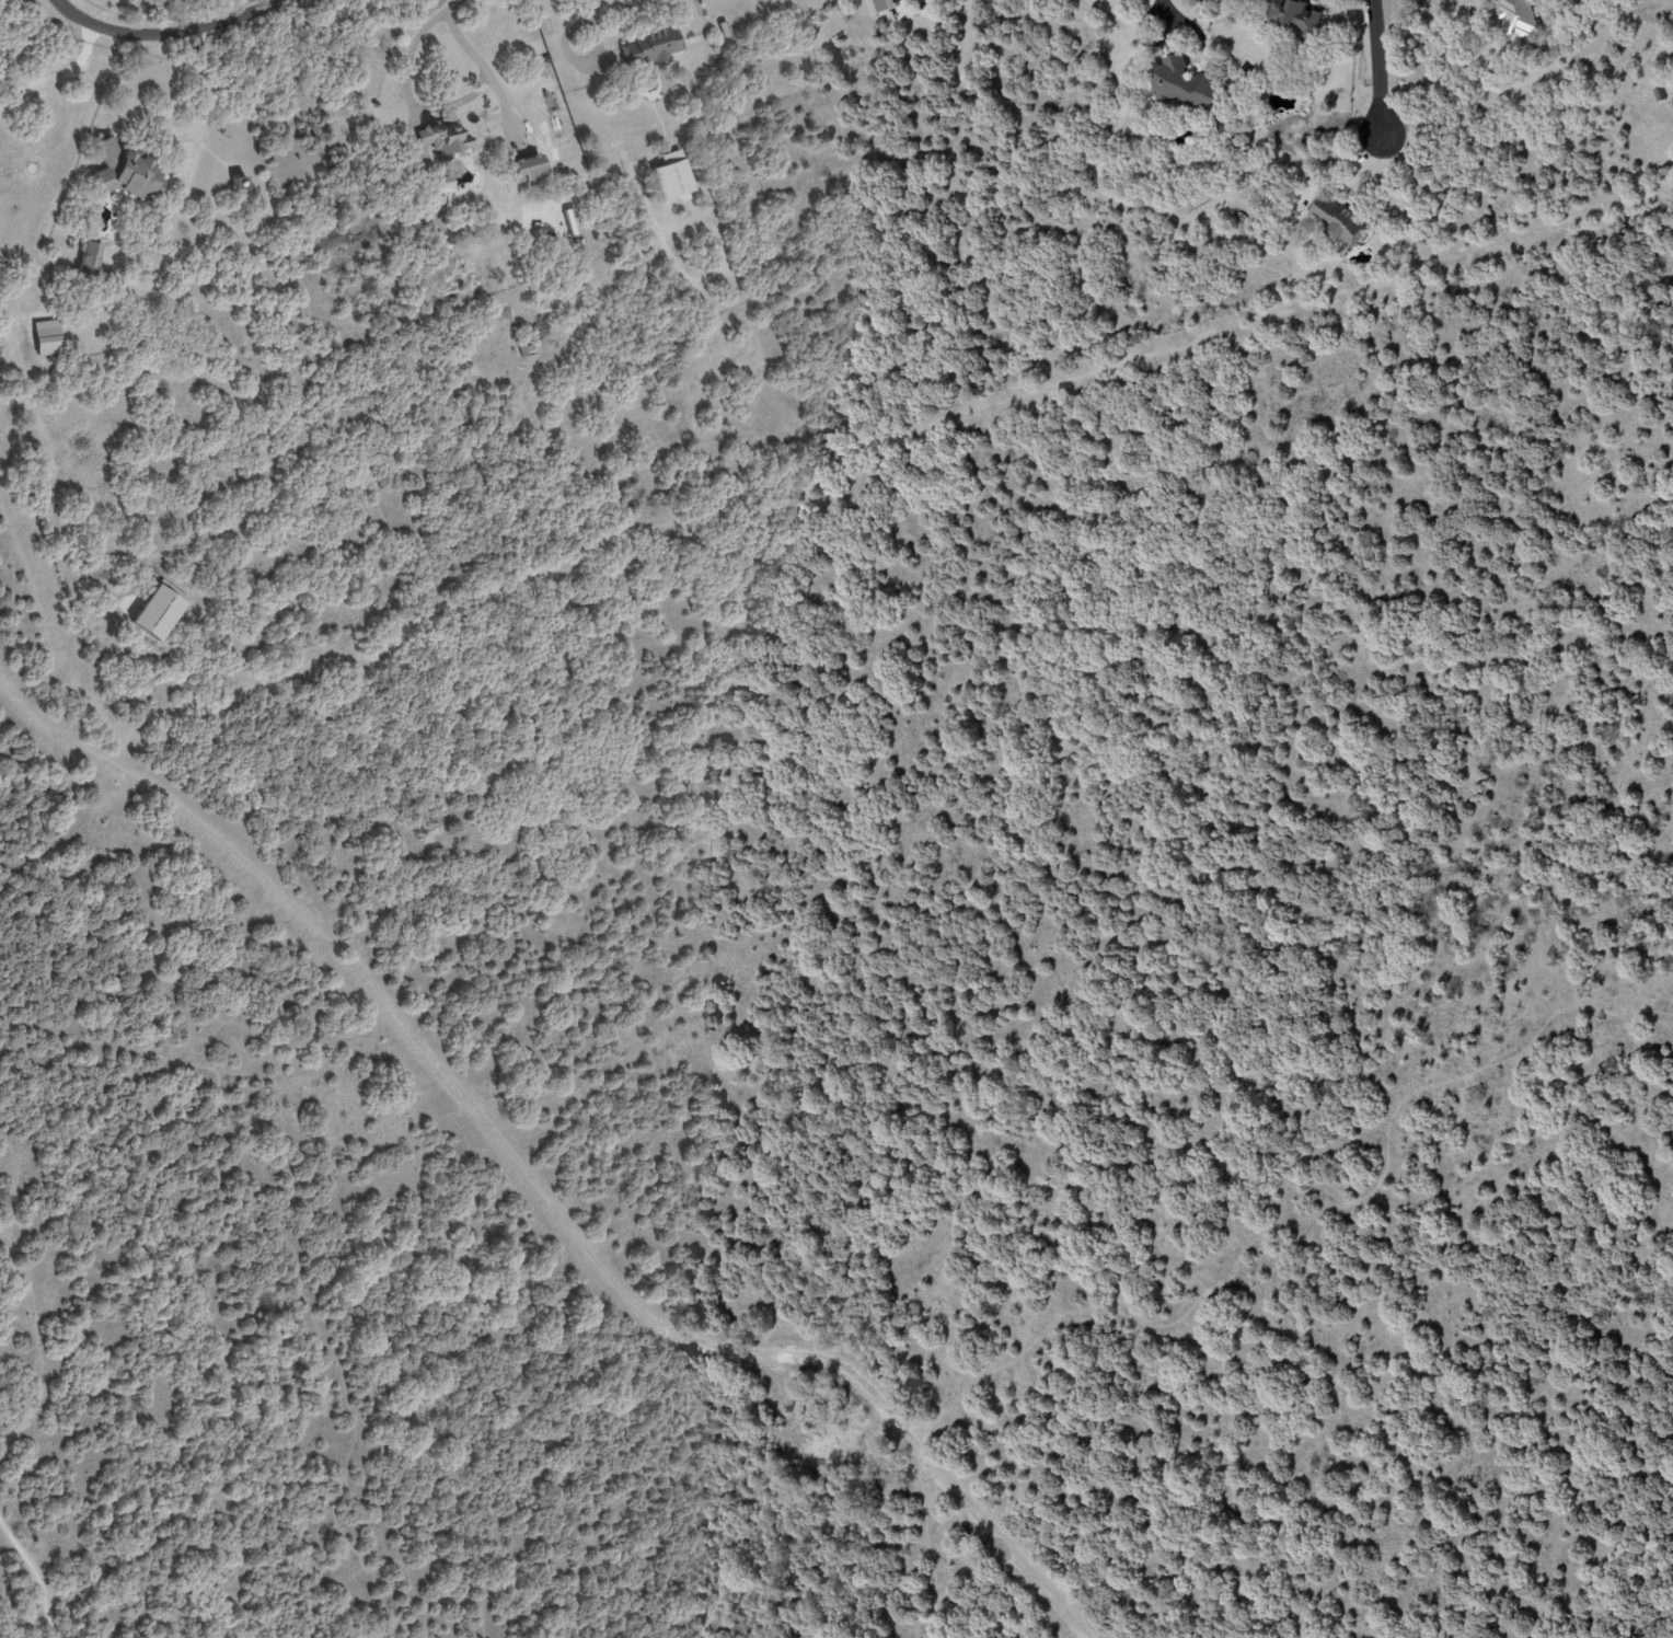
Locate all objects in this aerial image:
road: (450, 5)
building: (879, 5)
road: (1163, 5)
building: (1299, 16)
building: (1523, 18)
road: (588, 20)
building: (726, 28)
road: (172, 33)
building: (654, 45)
road: (1377, 66)
building: (1247, 72)
road: (59, 73)
building: (1184, 86)
building: (1659, 94)
road: (439, 107)
road: (154, 116)
building: (1095, 119)
building: (1162, 136)
building: (445, 138)
road: (174, 141)
building: (597, 145)
road: (194, 158)
building: (528, 166)
building: (128, 172)
building: (673, 174)
building: (240, 186)
building: (1341, 220)
building: (177, 251)
building: (90, 262)
building: (737, 289)
building: (426, 291)
building: (47, 337)
building: (529, 349)
road: (872, 442)
road: (54, 462)
park: (897, 1028)
road: (536, 1190)
road: (1295, 1218)
road: (301, 1277)
road: (760, 1481)
road: (926, 1548)
road: (38, 1574)
road: (1107, 1635)

